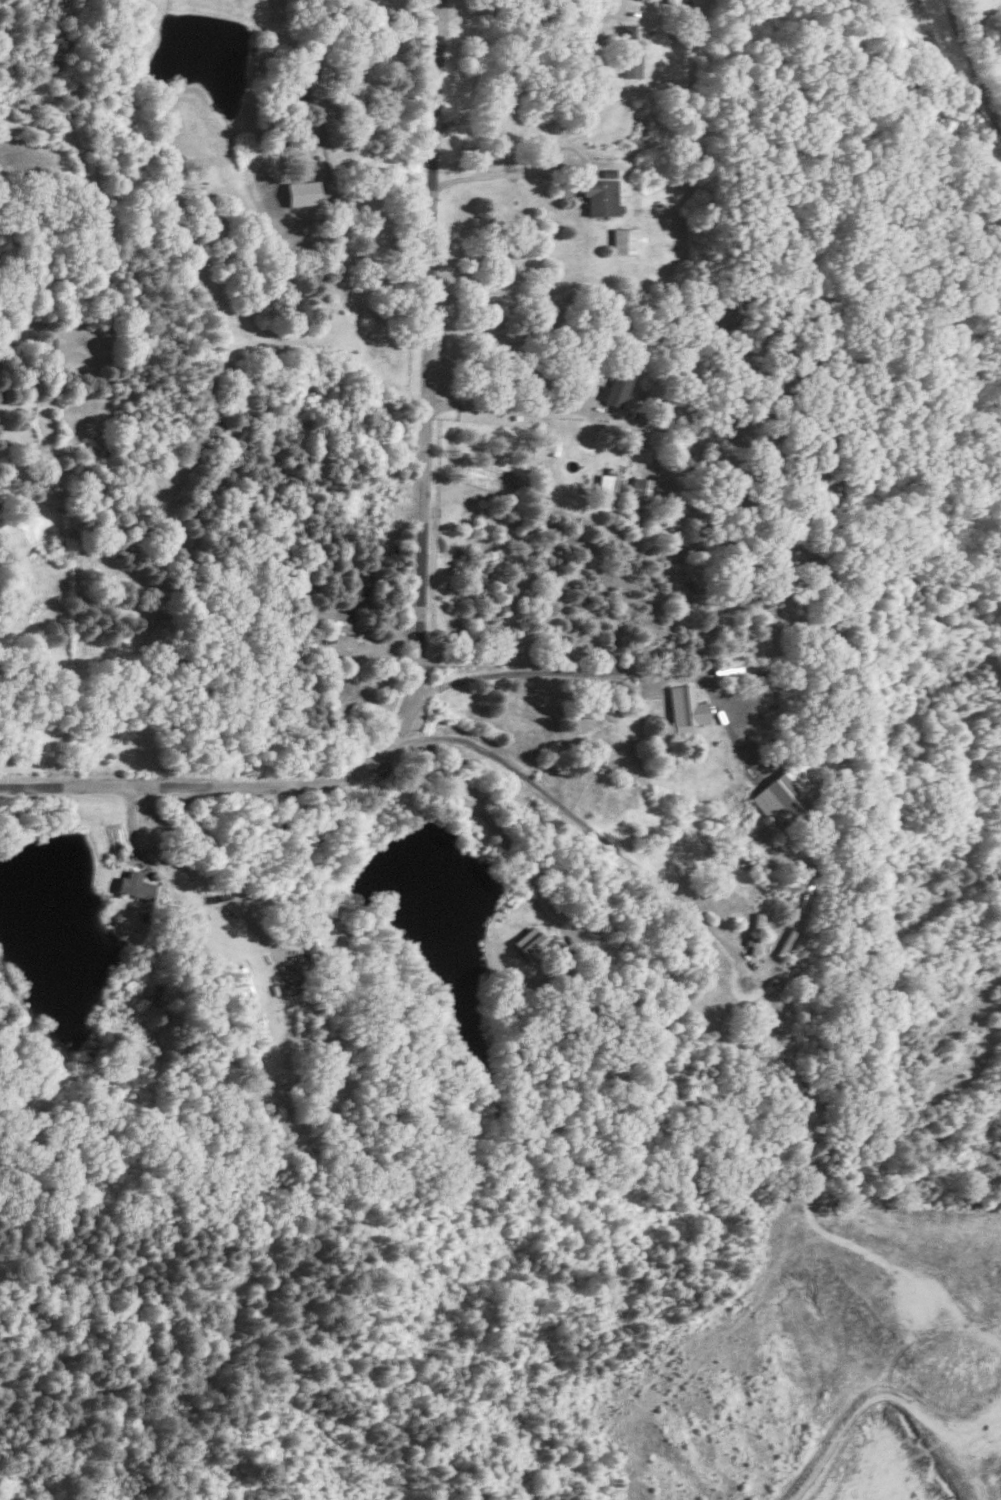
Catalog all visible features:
road: (531, 9)
building: (627, 32)
building: (632, 65)
road: (493, 166)
building: (302, 192)
building: (601, 196)
road: (344, 222)
building: (627, 240)
building: (616, 388)
road: (505, 409)
building: (607, 491)
building: (644, 497)
road: (419, 576)
building: (332, 617)
road: (538, 666)
building: (684, 709)
building: (787, 794)
road: (488, 817)
road: (581, 822)
road: (238, 865)
building: (135, 885)
building: (757, 921)
building: (528, 942)
building: (753, 942)

